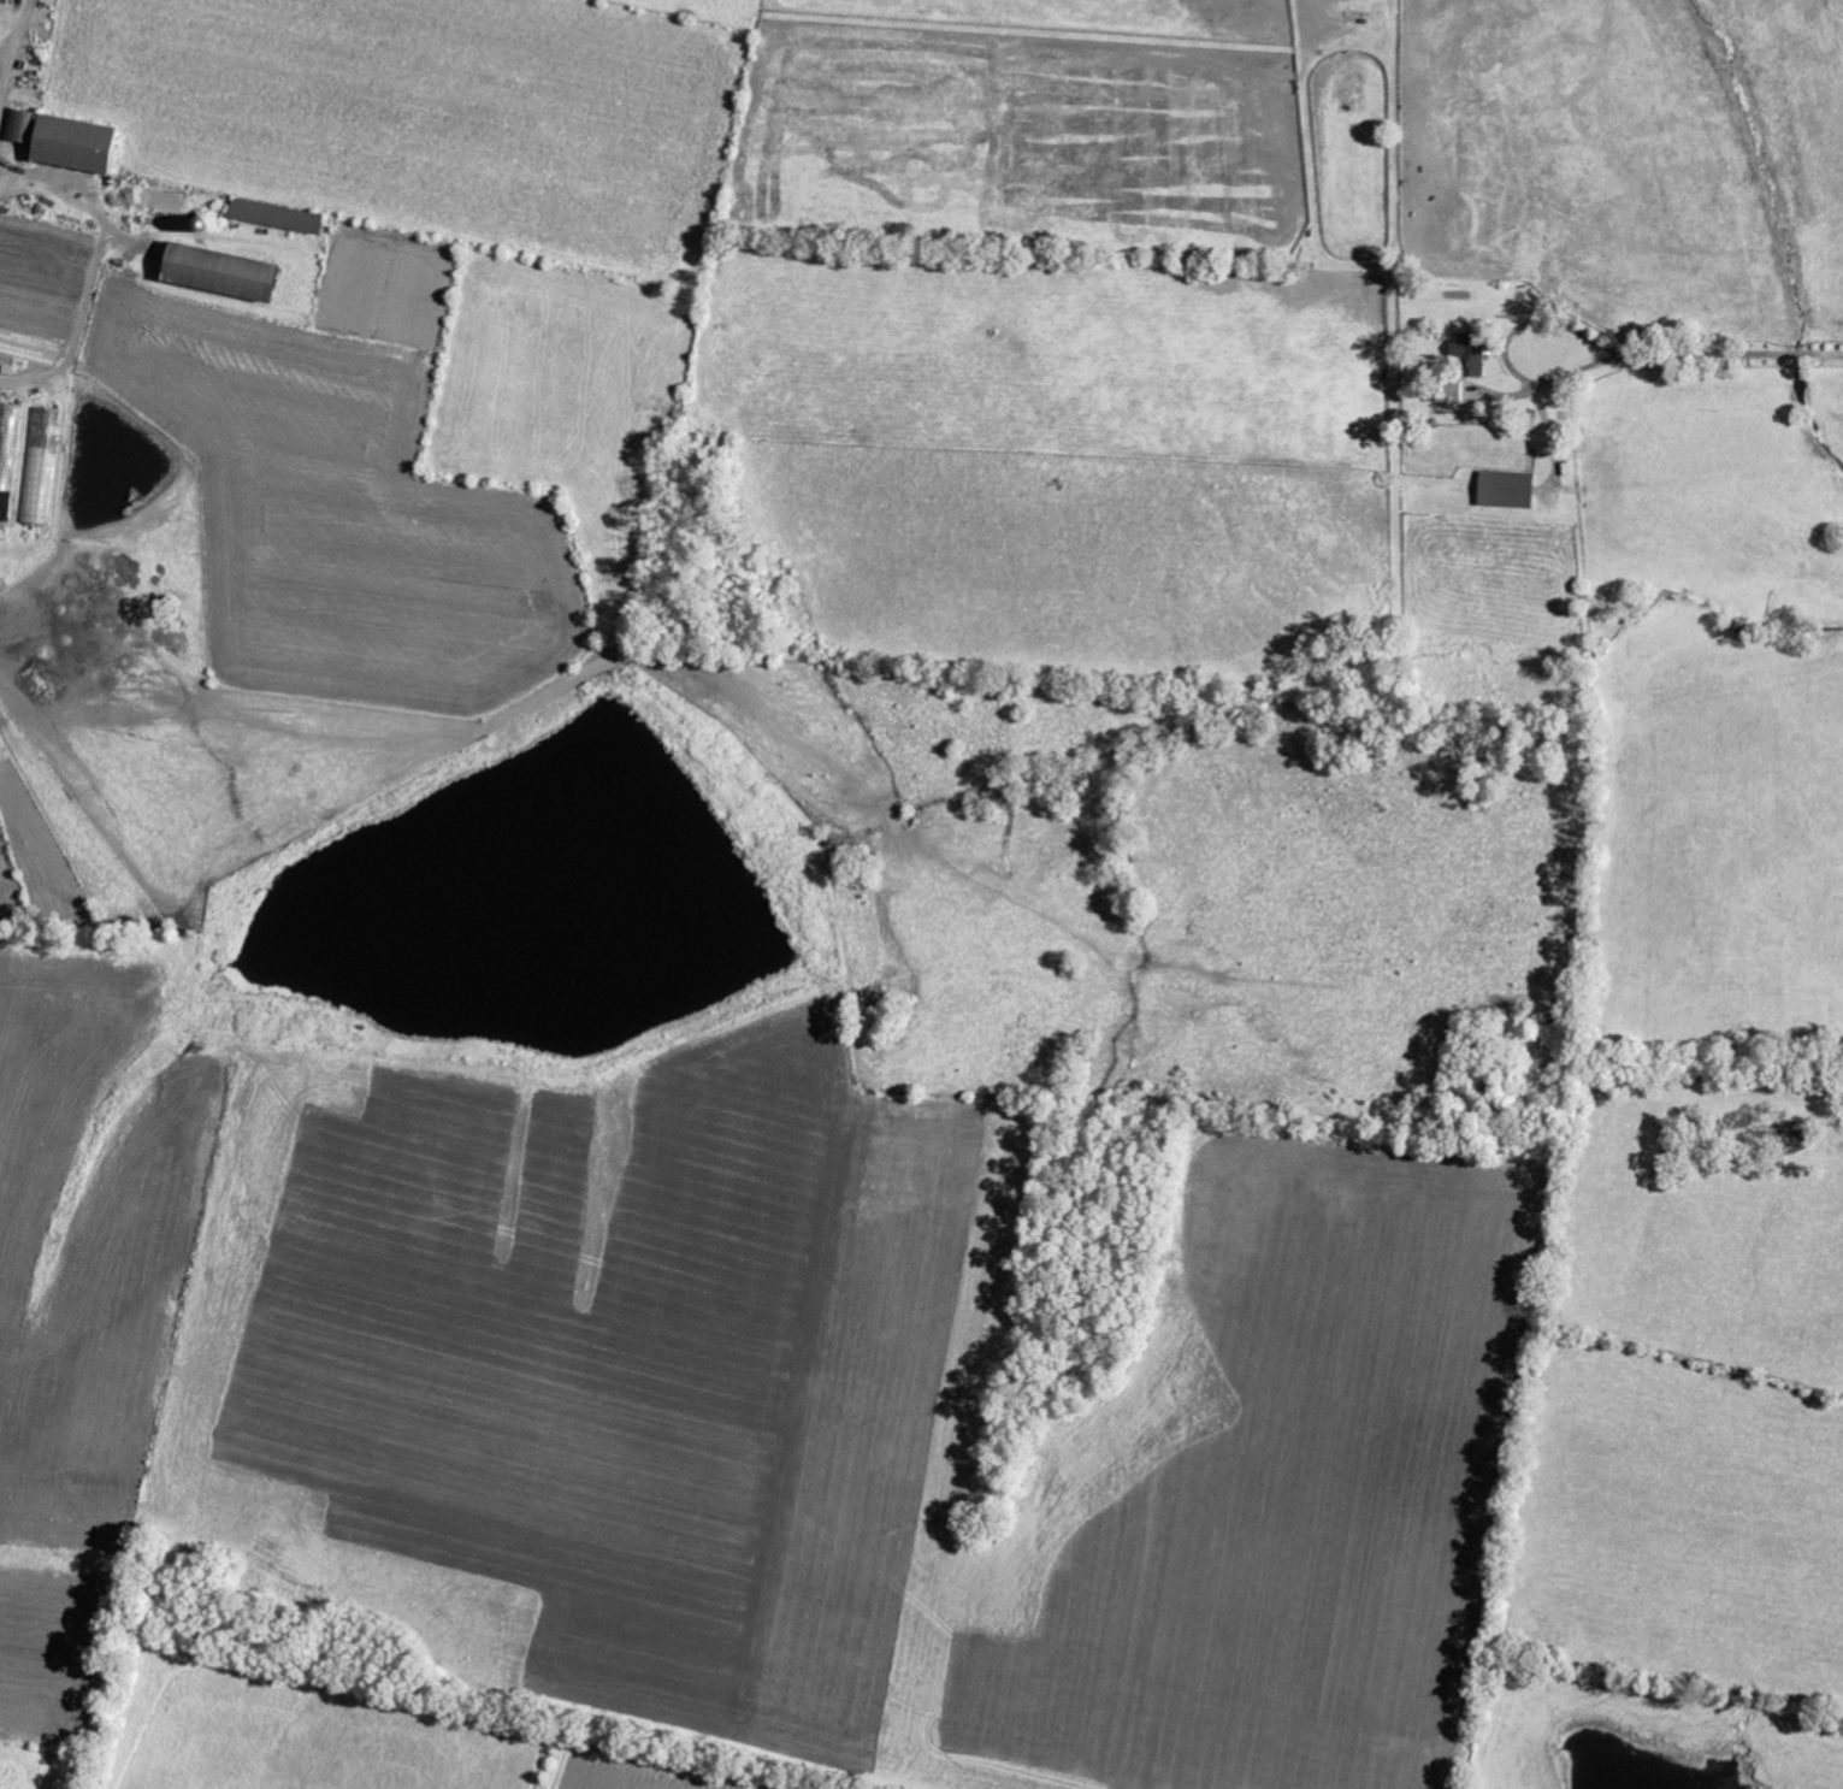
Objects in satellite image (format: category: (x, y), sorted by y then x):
building: (6, 1)
road: (13, 48)
building: (78, 144)
building: (279, 214)
building: (224, 270)
building: (1471, 352)
road: (1506, 352)
road: (1730, 354)
building: (1508, 489)

